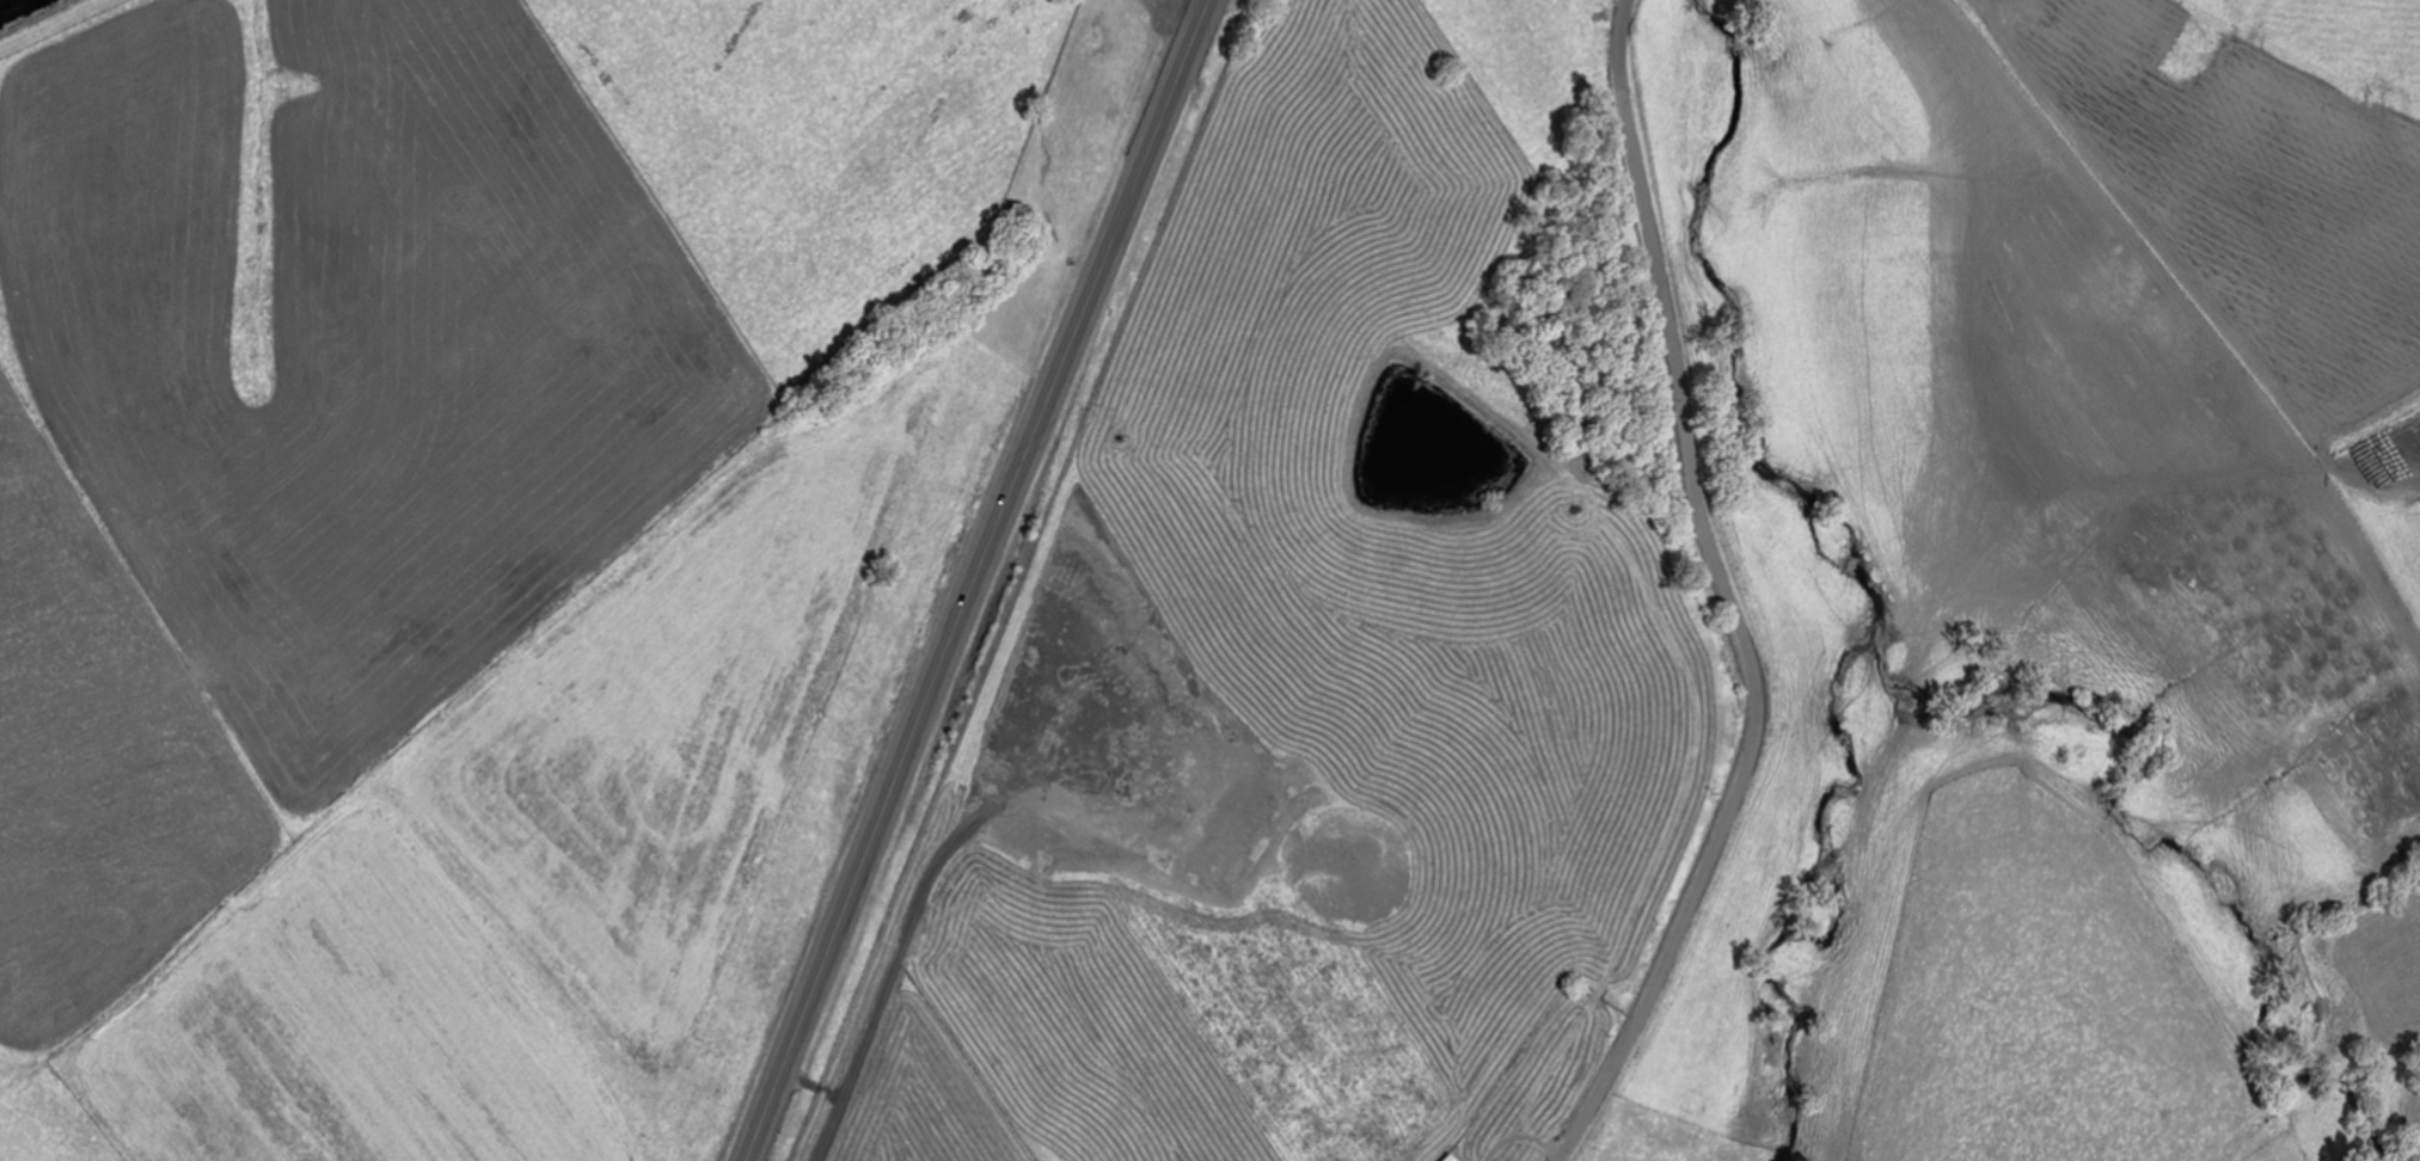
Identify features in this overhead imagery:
road: (975, 580)
road: (1729, 598)
building: (1451, 1157)

